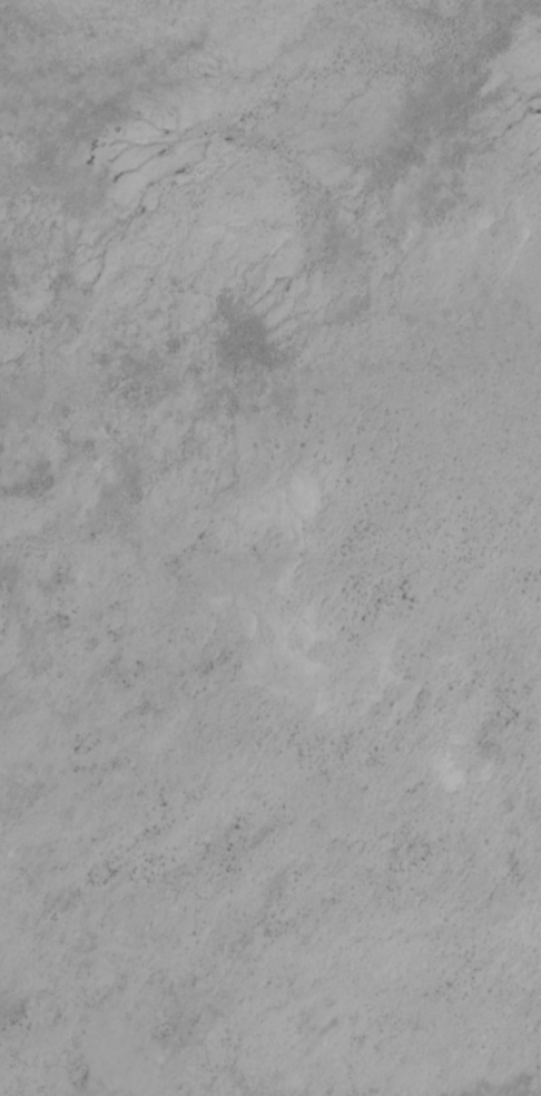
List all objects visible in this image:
road: (269, 970)

